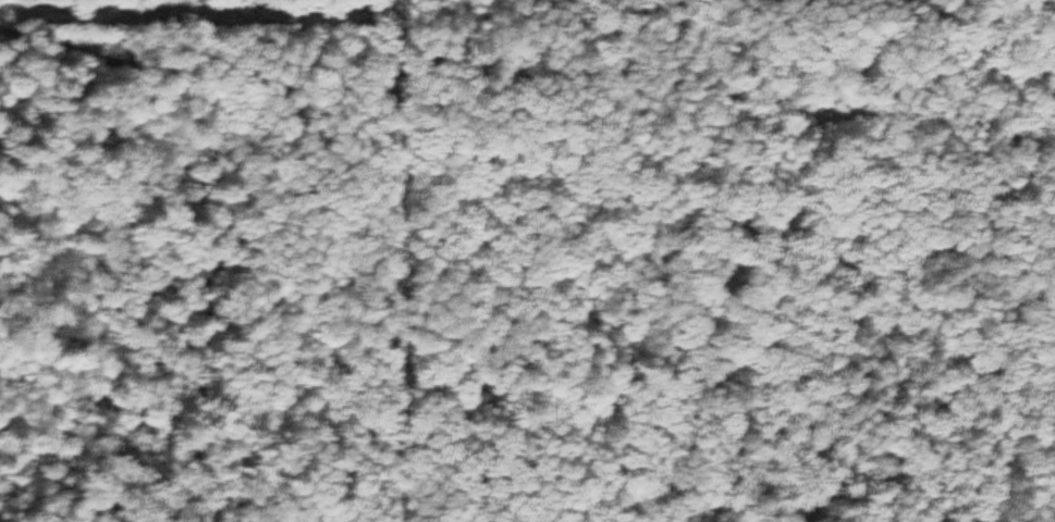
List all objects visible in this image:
road: (965, 12)
road: (525, 66)
road: (1027, 225)
road: (387, 283)
road: (873, 315)

